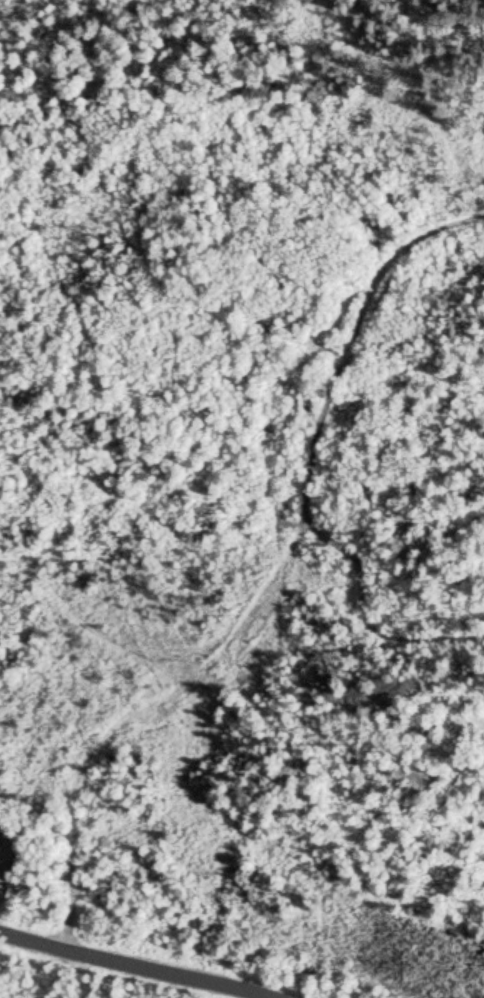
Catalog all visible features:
road: (143, 959)

